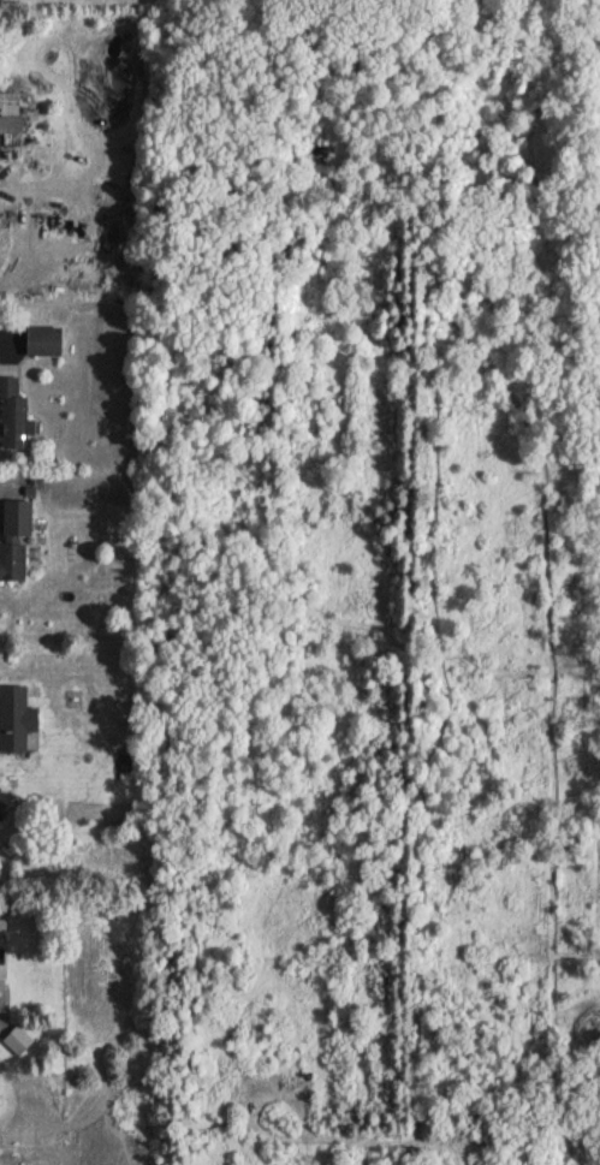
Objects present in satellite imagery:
building: (14, 108)
road: (1, 337)
building: (49, 344)
building: (17, 415)
road: (2, 503)
building: (16, 560)
building: (14, 720)
building: (16, 1042)

